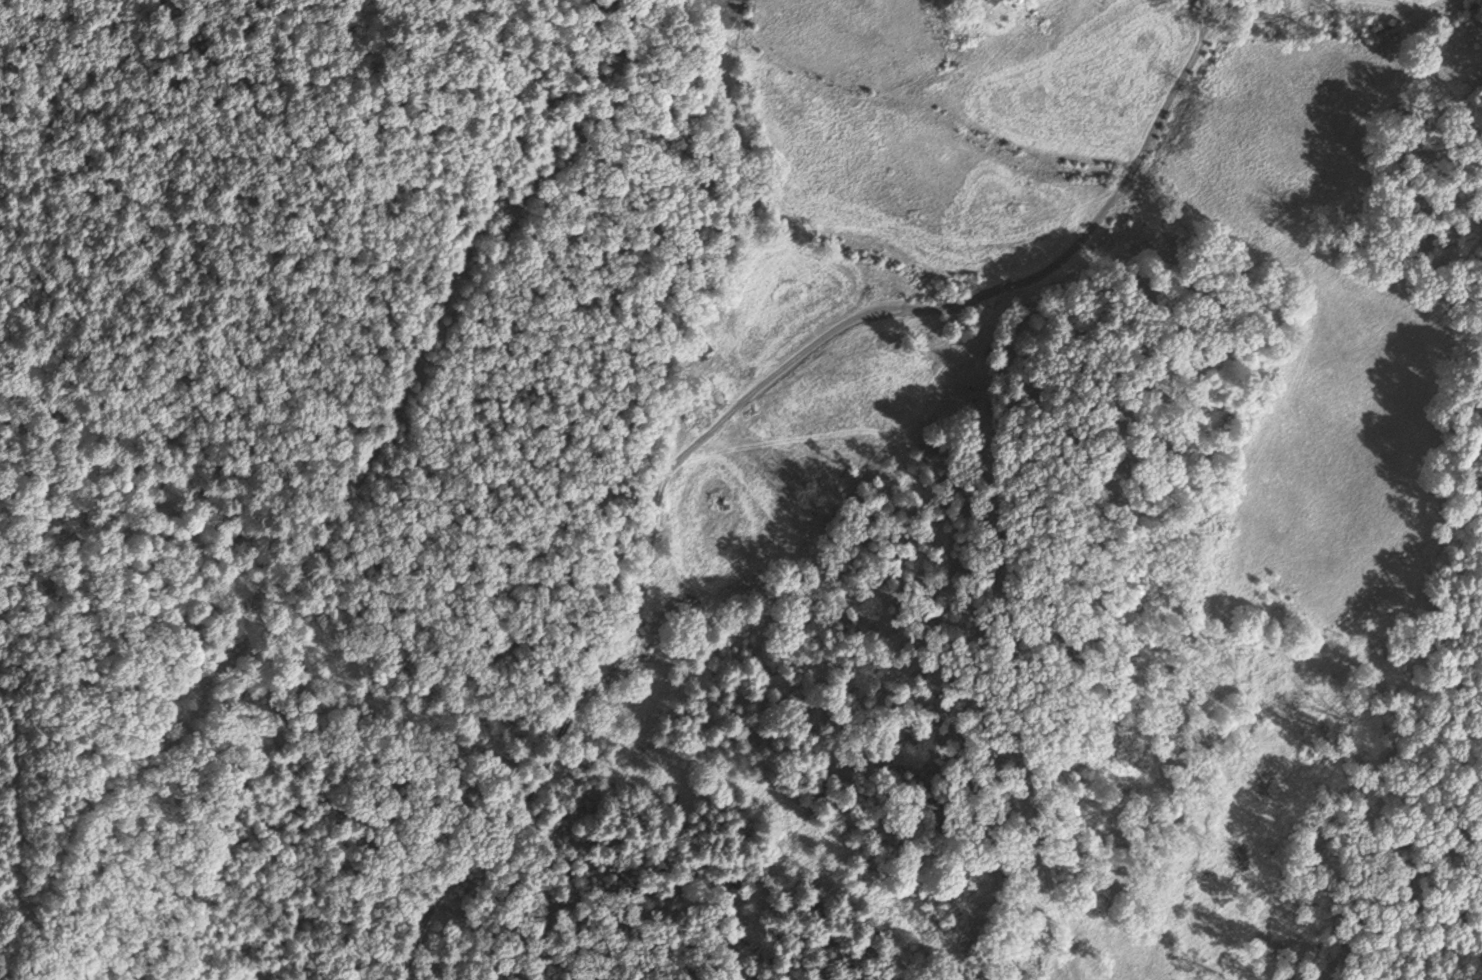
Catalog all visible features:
building: (992, 3)
road: (995, 453)
road: (651, 546)

